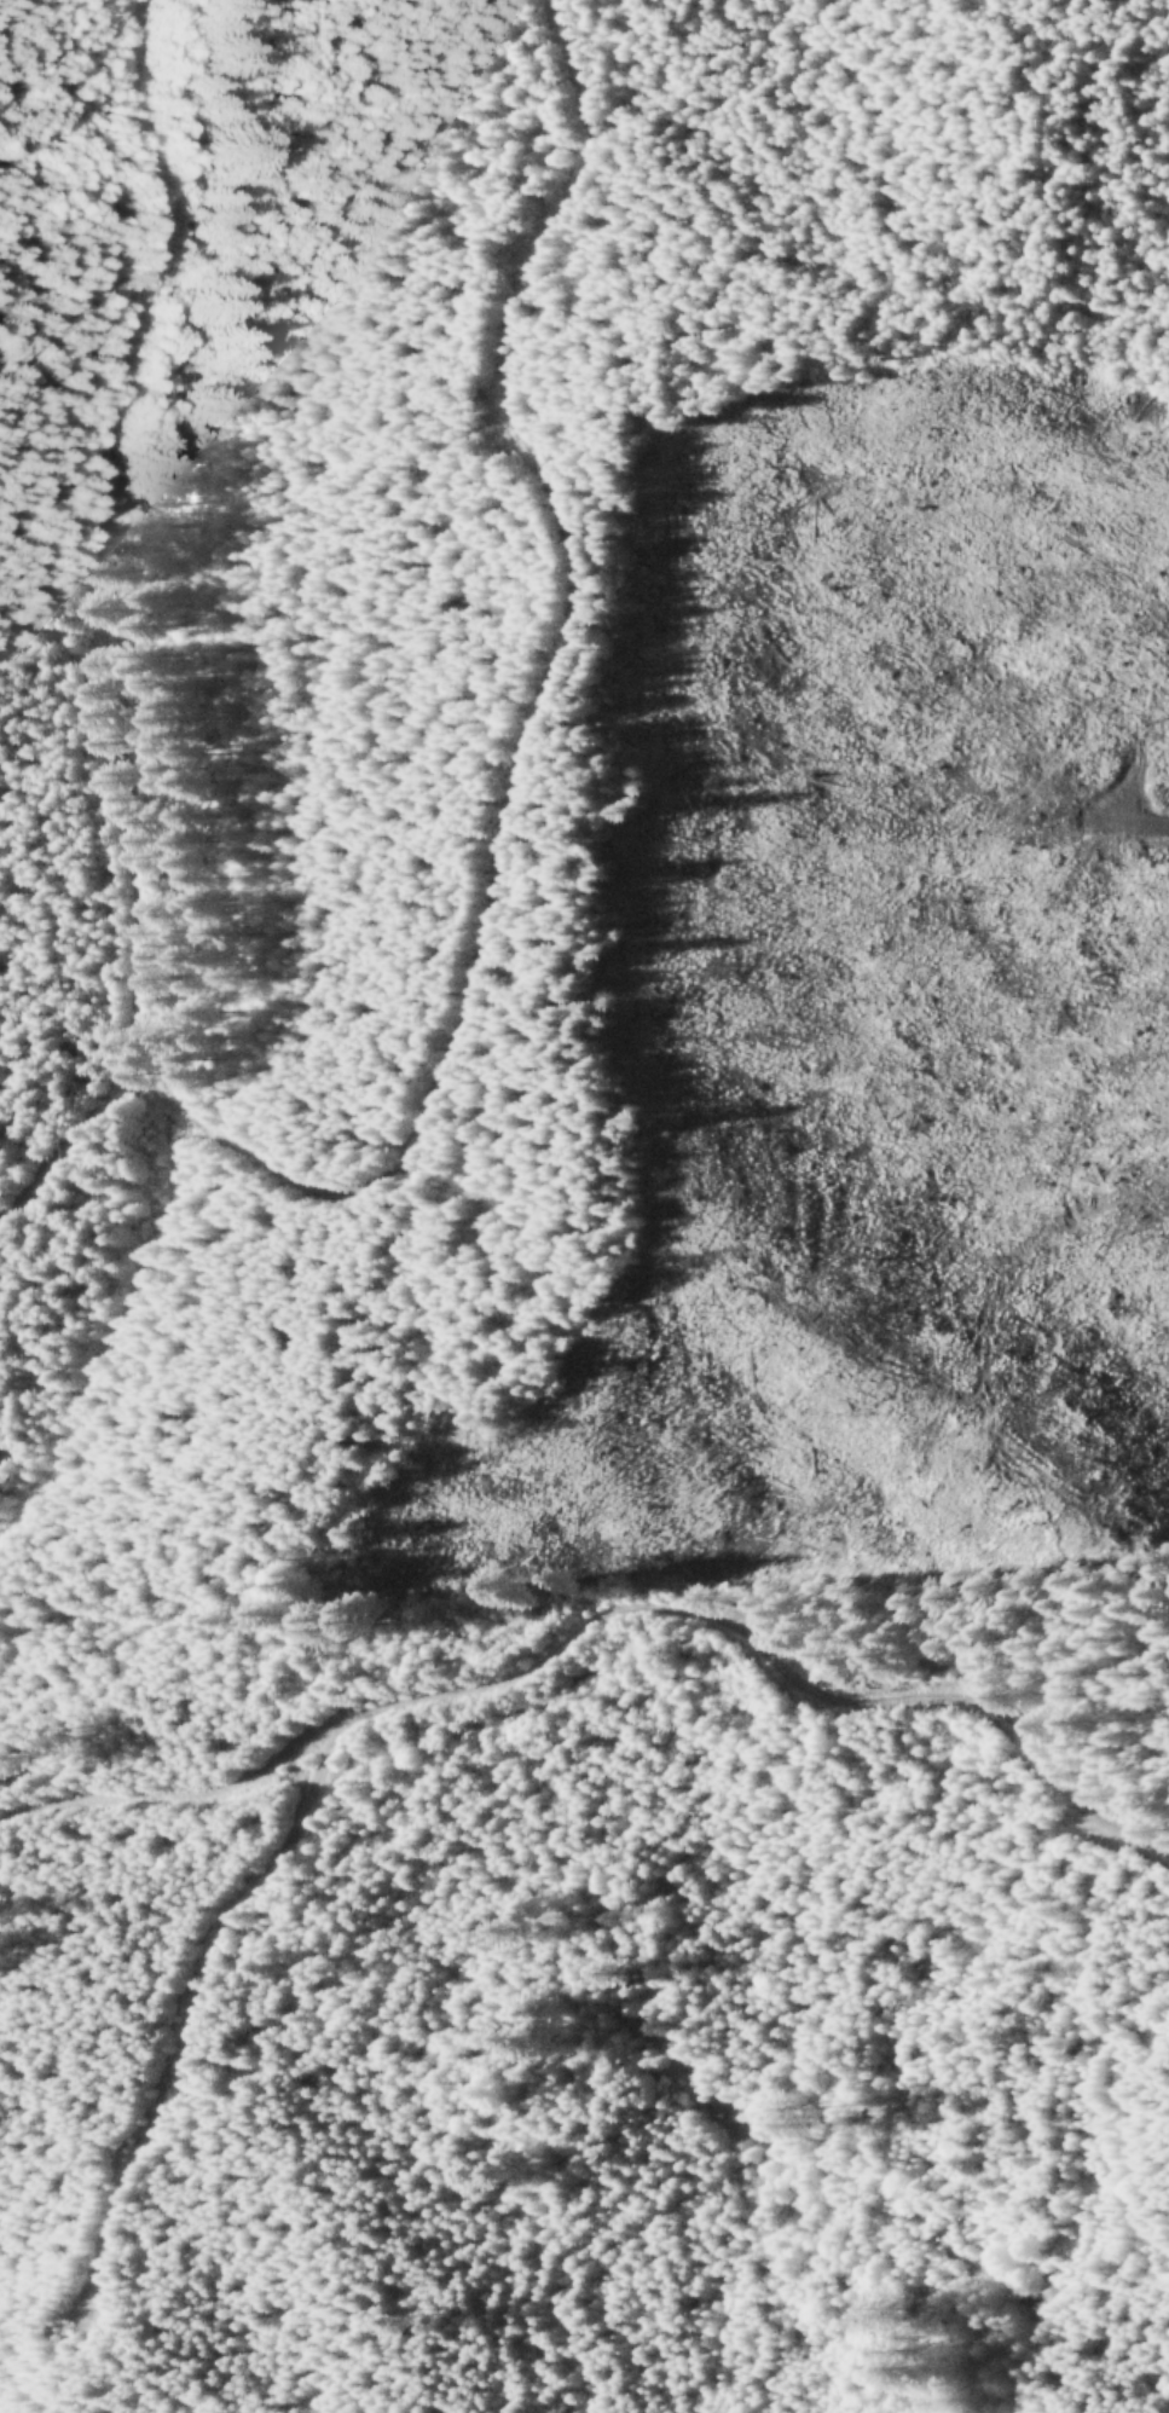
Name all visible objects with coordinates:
road: (68, 1128)
road: (331, 1192)
road: (602, 1608)
road: (189, 1986)

